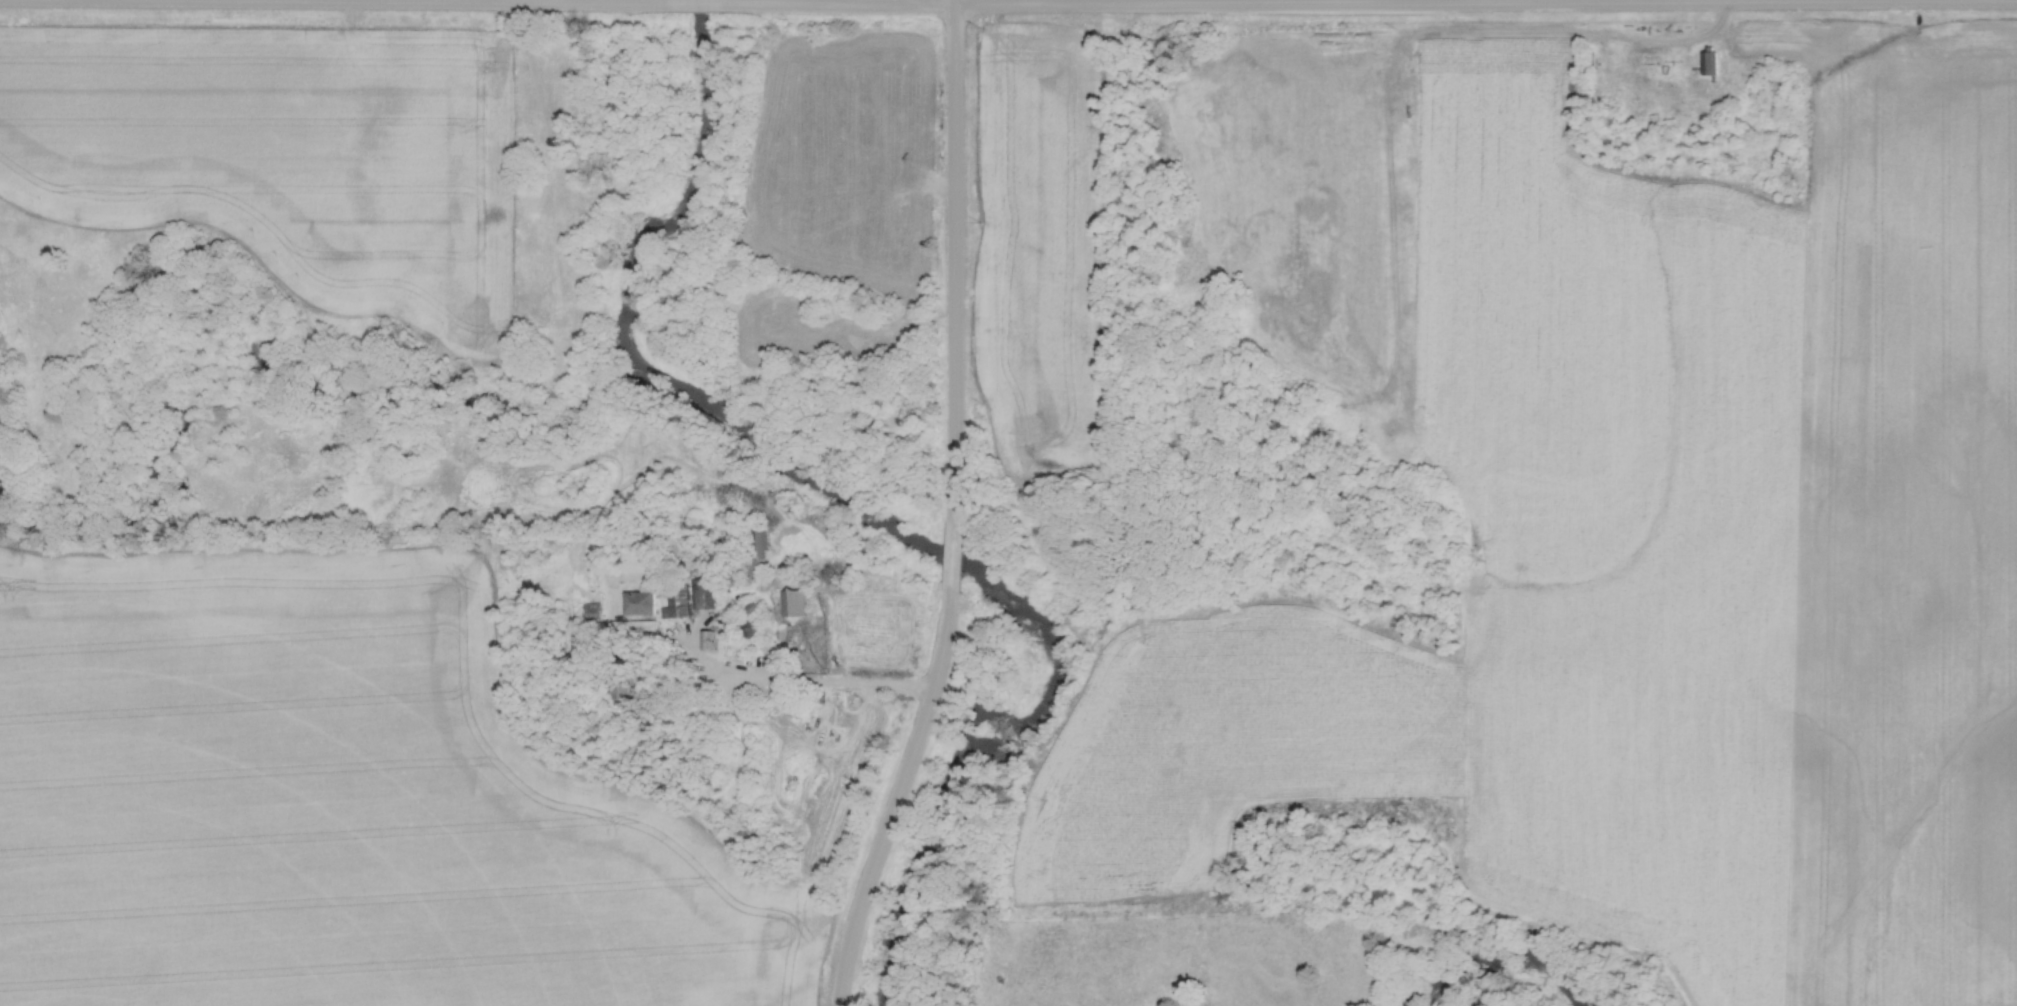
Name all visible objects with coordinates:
road: (333, 5)
road: (696, 6)
road: (1371, 6)
building: (1709, 62)
road: (954, 259)
road: (954, 556)
building: (698, 601)
building: (640, 603)
building: (793, 604)
building: (633, 627)
building: (752, 630)
building: (705, 641)
road: (834, 683)
building: (622, 688)
building: (711, 778)
road: (896, 799)

